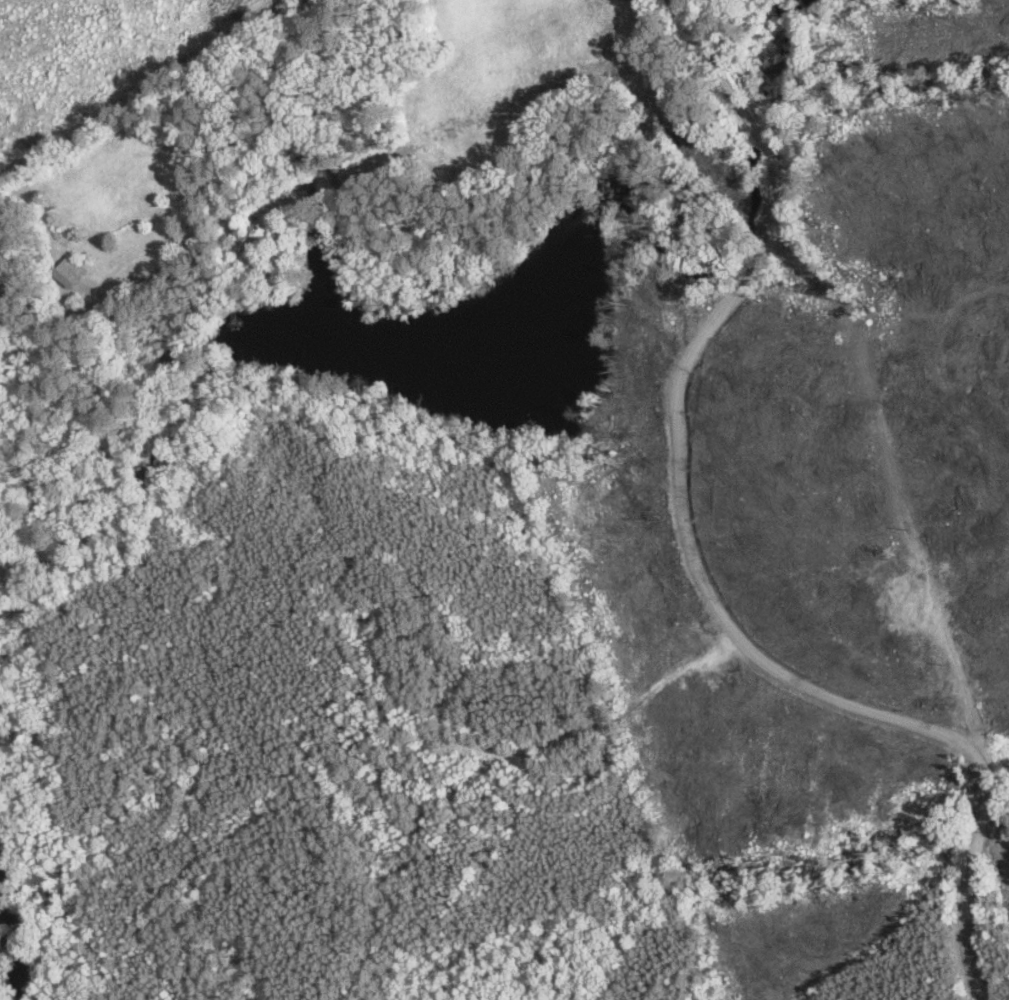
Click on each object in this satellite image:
building: (252, 239)
building: (74, 271)
road: (708, 441)
road: (997, 929)

